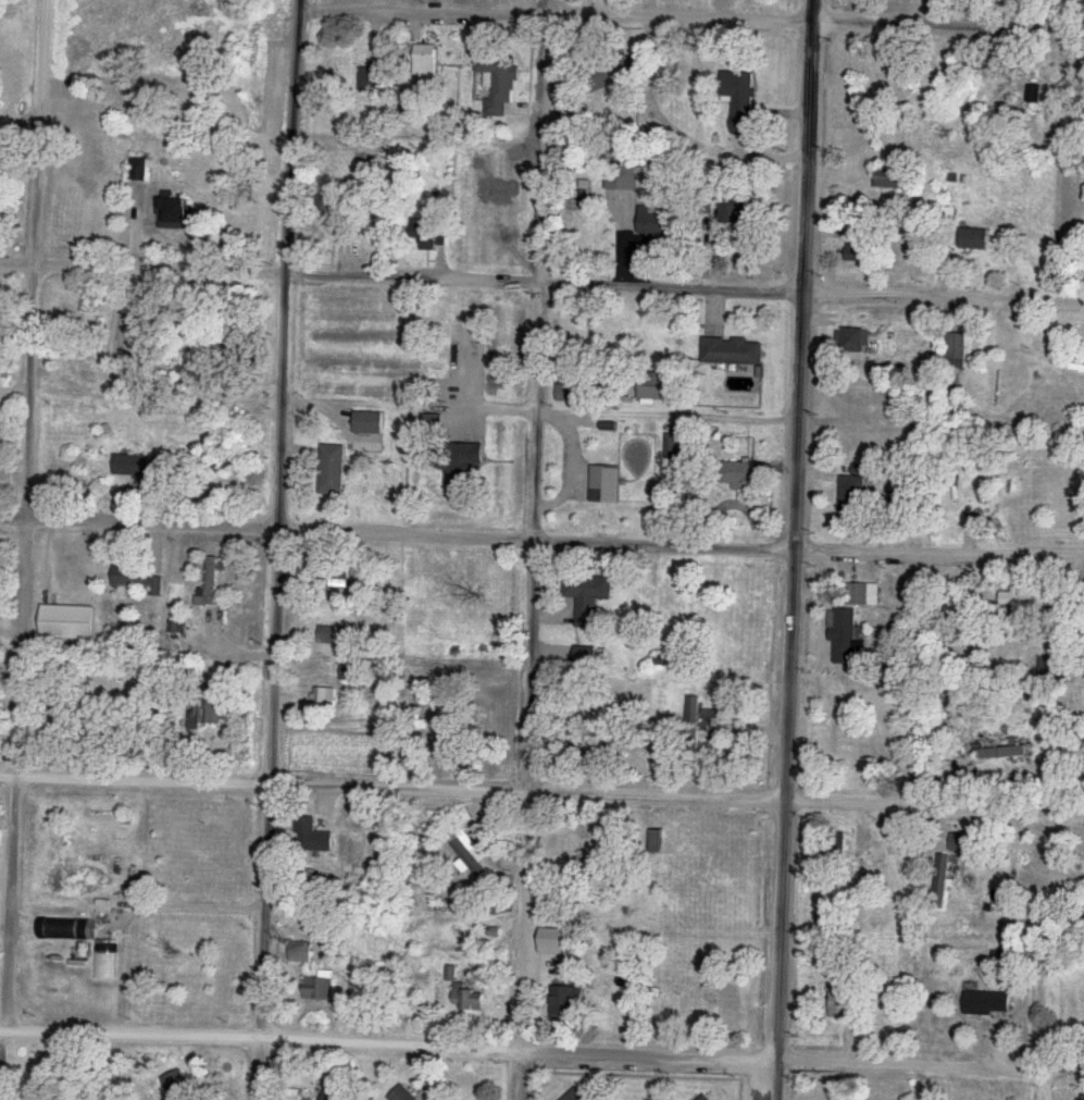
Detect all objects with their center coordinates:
road: (691, 14)
building: (424, 60)
building: (613, 72)
building: (369, 79)
building: (500, 81)
building: (738, 92)
building: (138, 169)
building: (625, 174)
building: (896, 178)
building: (175, 211)
building: (732, 214)
building: (655, 220)
building: (421, 232)
building: (490, 234)
building: (975, 239)
building: (856, 246)
road: (18, 261)
road: (544, 269)
road: (806, 273)
road: (421, 277)
road: (945, 295)
building: (854, 341)
building: (732, 350)
building: (957, 350)
building: (191, 362)
building: (1080, 366)
building: (659, 386)
road: (286, 392)
building: (858, 401)
building: (957, 403)
road: (543, 411)
building: (369, 423)
building: (432, 427)
building: (673, 446)
building: (223, 464)
building: (466, 465)
building: (140, 467)
building: (333, 468)
building: (740, 472)
building: (606, 484)
building: (985, 484)
building: (852, 495)
road: (28, 516)
road: (541, 539)
building: (71, 572)
building: (139, 580)
building: (209, 585)
building: (672, 593)
building: (862, 595)
building: (588, 596)
building: (1029, 600)
building: (68, 622)
building: (328, 635)
building: (844, 638)
building: (585, 656)
building: (1050, 668)
building: (351, 675)
building: (324, 699)
building: (694, 710)
building: (204, 716)
building: (1001, 752)
road: (136, 779)
road: (678, 796)
road: (523, 818)
road: (782, 824)
building: (312, 835)
building: (962, 843)
building: (835, 852)
building: (465, 855)
building: (942, 879)
road: (185, 907)
building: (65, 928)
road: (264, 941)
building: (300, 953)
building: (104, 961)
building: (397, 985)
building: (320, 989)
building: (843, 998)
building: (470, 999)
building: (569, 1002)
building: (987, 1003)
road: (536, 1052)
building: (337, 1092)
building: (294, 1095)
building: (402, 1095)
building: (575, 1096)
building: (4, 1097)
building: (187, 1097)
building: (705, 1098)

